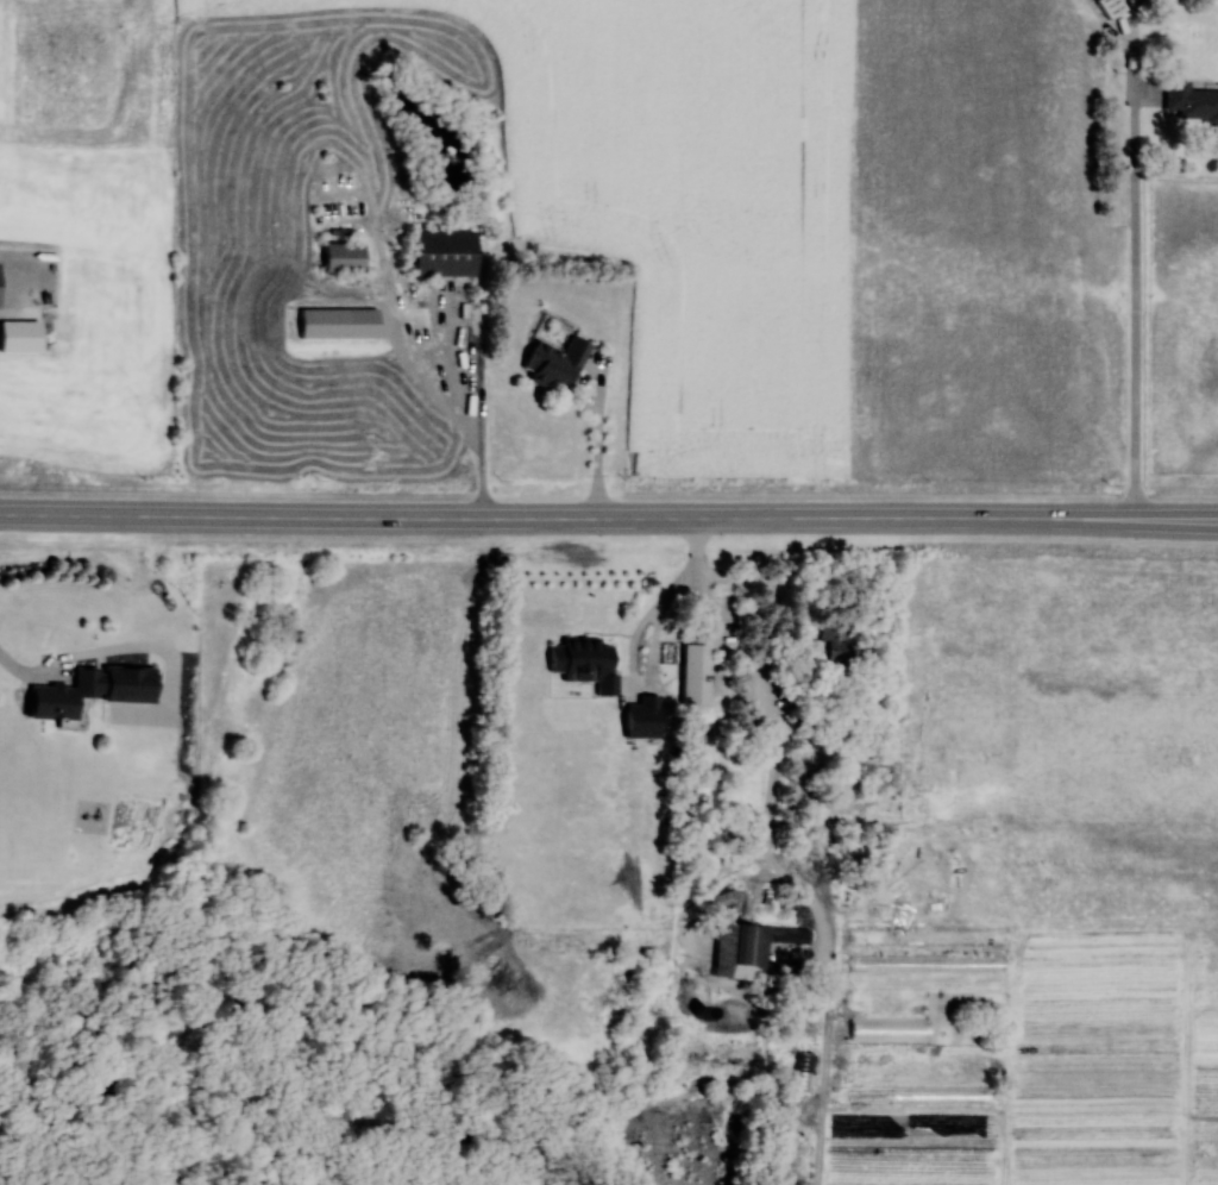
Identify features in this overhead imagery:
building: (1143, 4)
building: (1113, 7)
building: (1193, 101)
building: (445, 253)
building: (345, 257)
road: (1135, 299)
building: (558, 363)
road: (469, 409)
road: (596, 446)
road: (609, 519)
building: (1142, 615)
road: (635, 637)
building: (834, 638)
building: (697, 659)
building: (588, 662)
road: (30, 675)
building: (65, 694)
building: (646, 716)
building: (867, 935)
building: (753, 947)
building: (864, 963)
building: (891, 1027)
building: (803, 1070)

